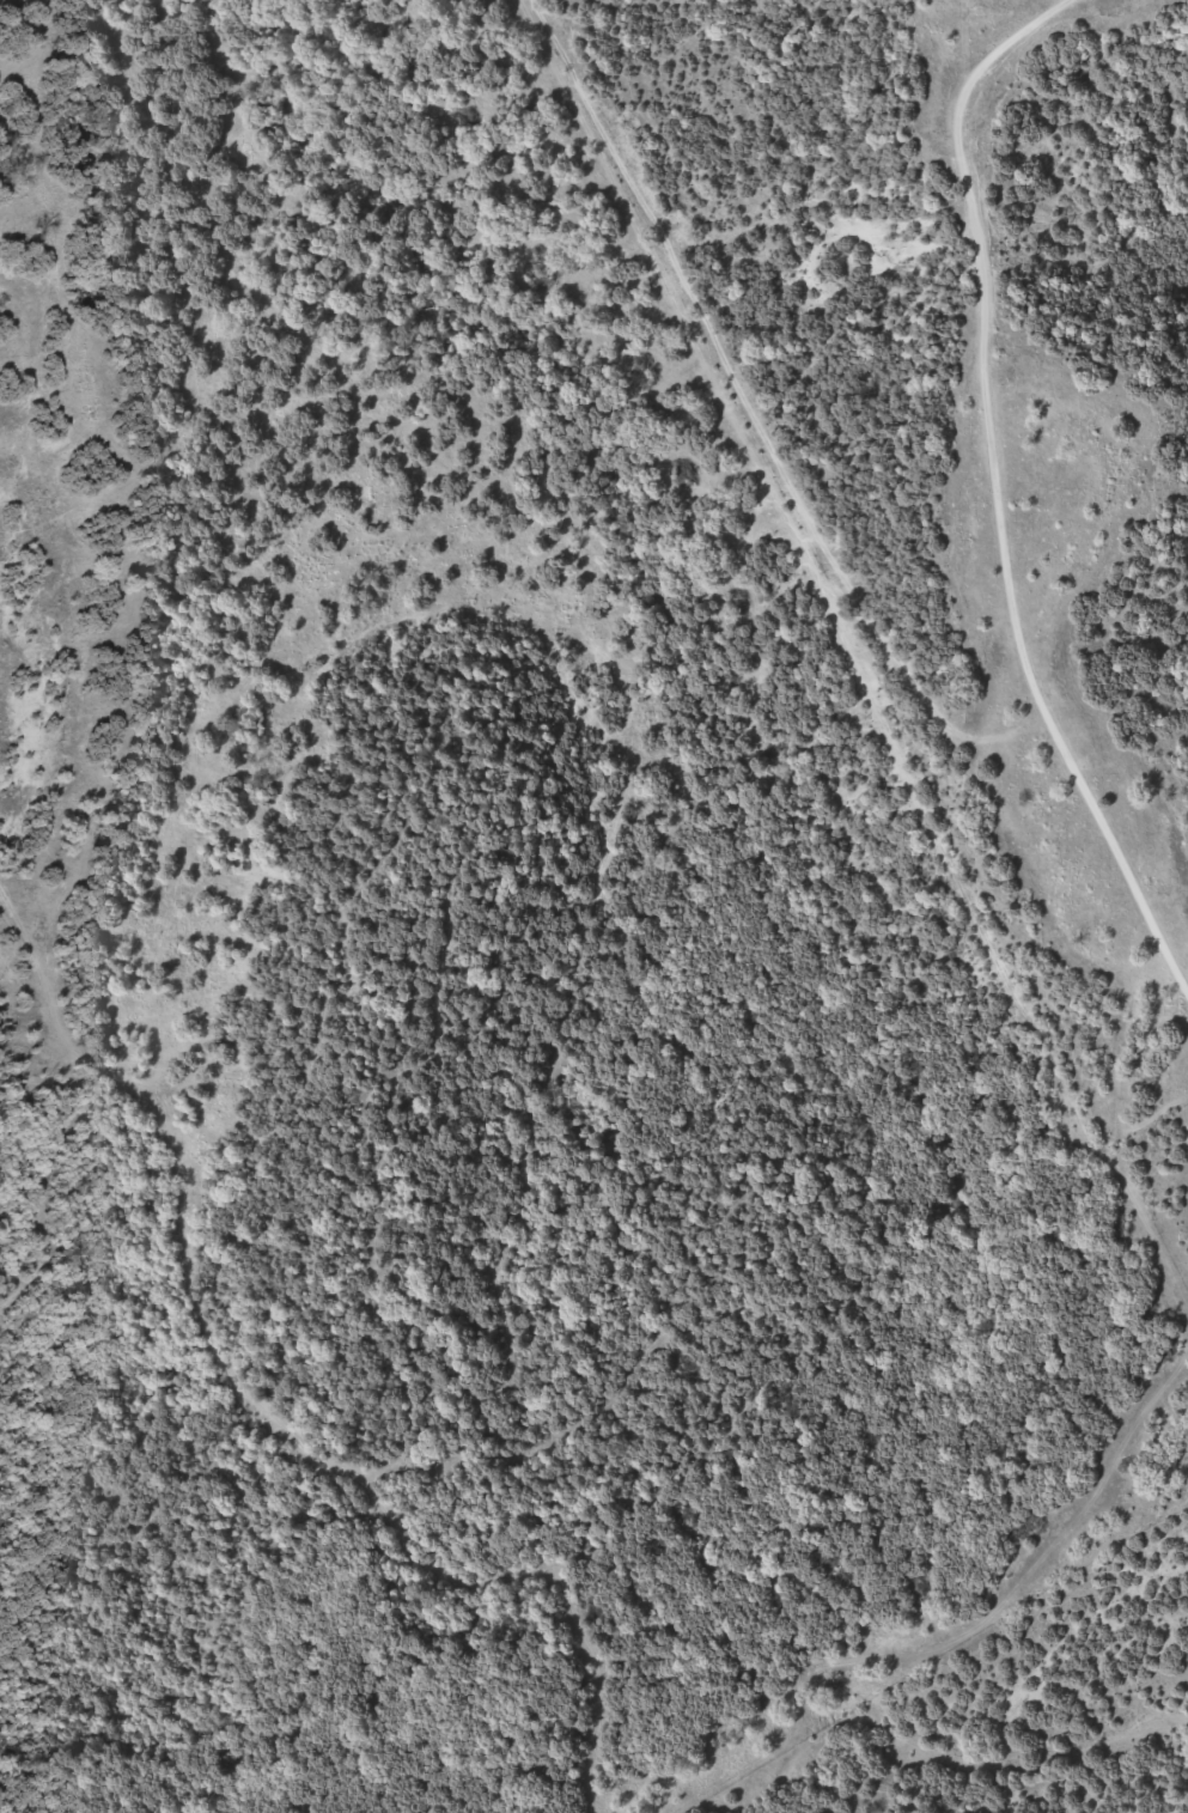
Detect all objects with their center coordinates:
road: (1003, 491)

